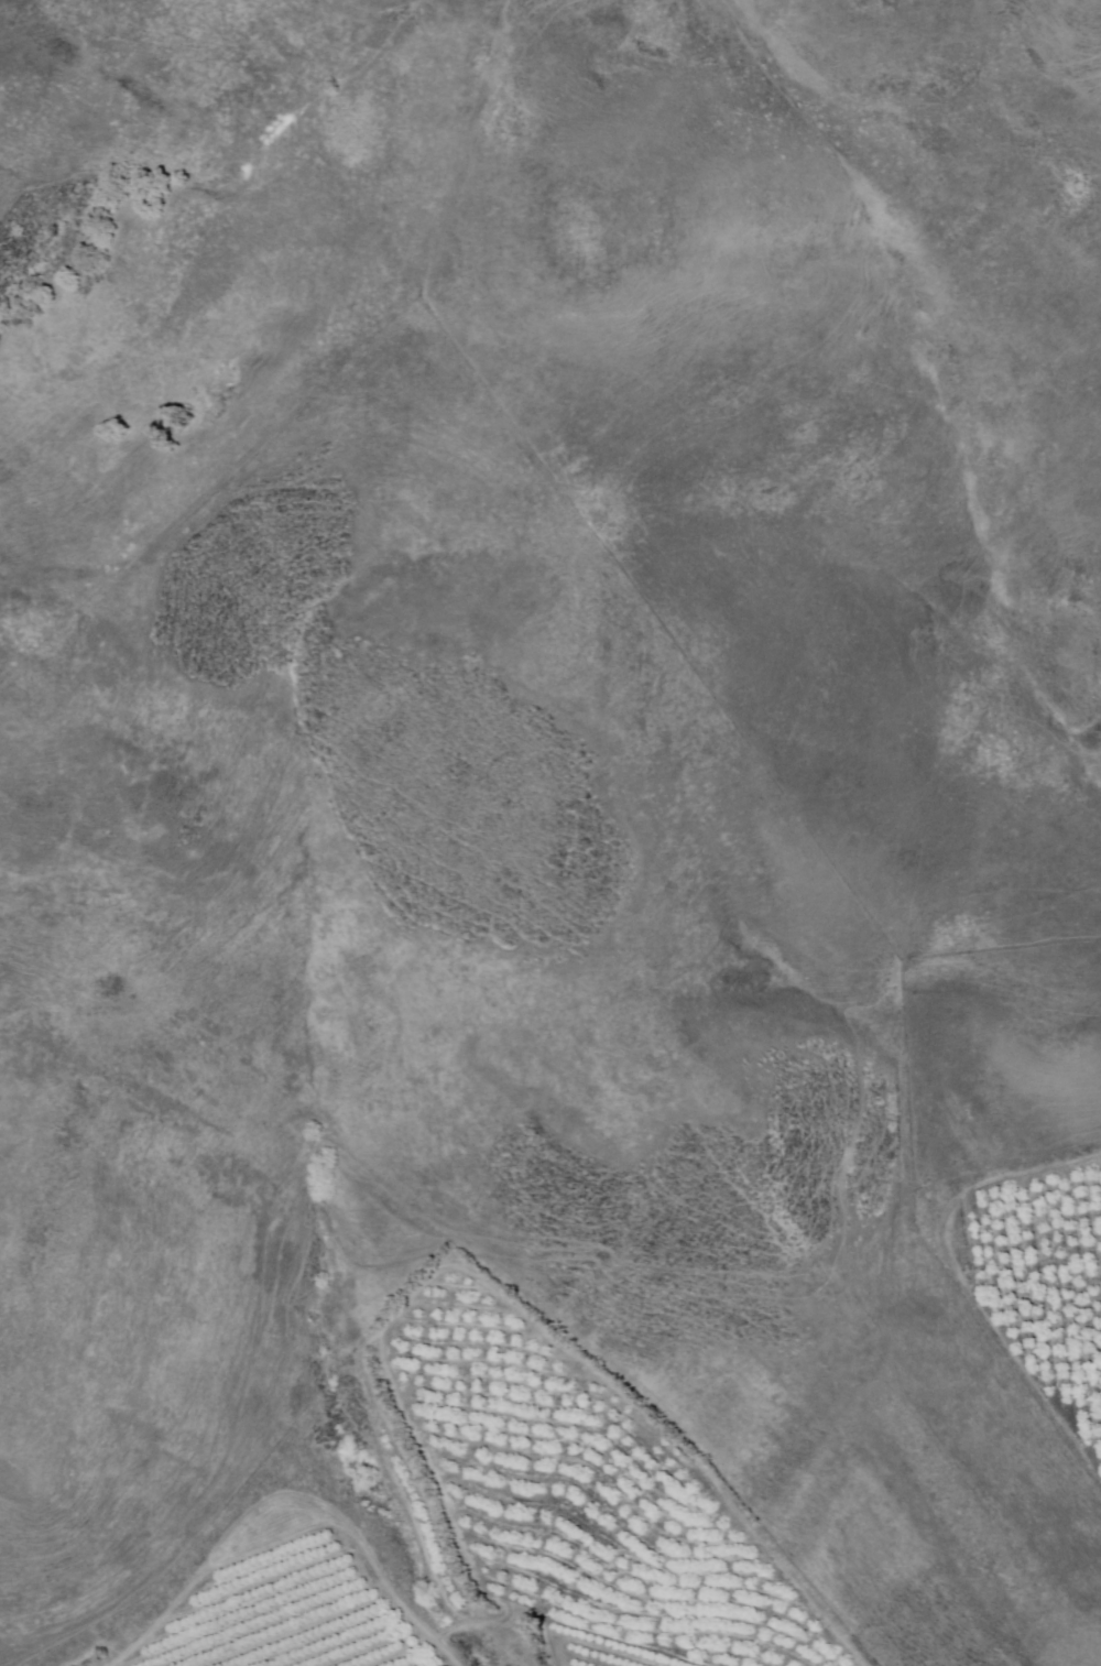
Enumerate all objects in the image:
crop: (442, 1502)

